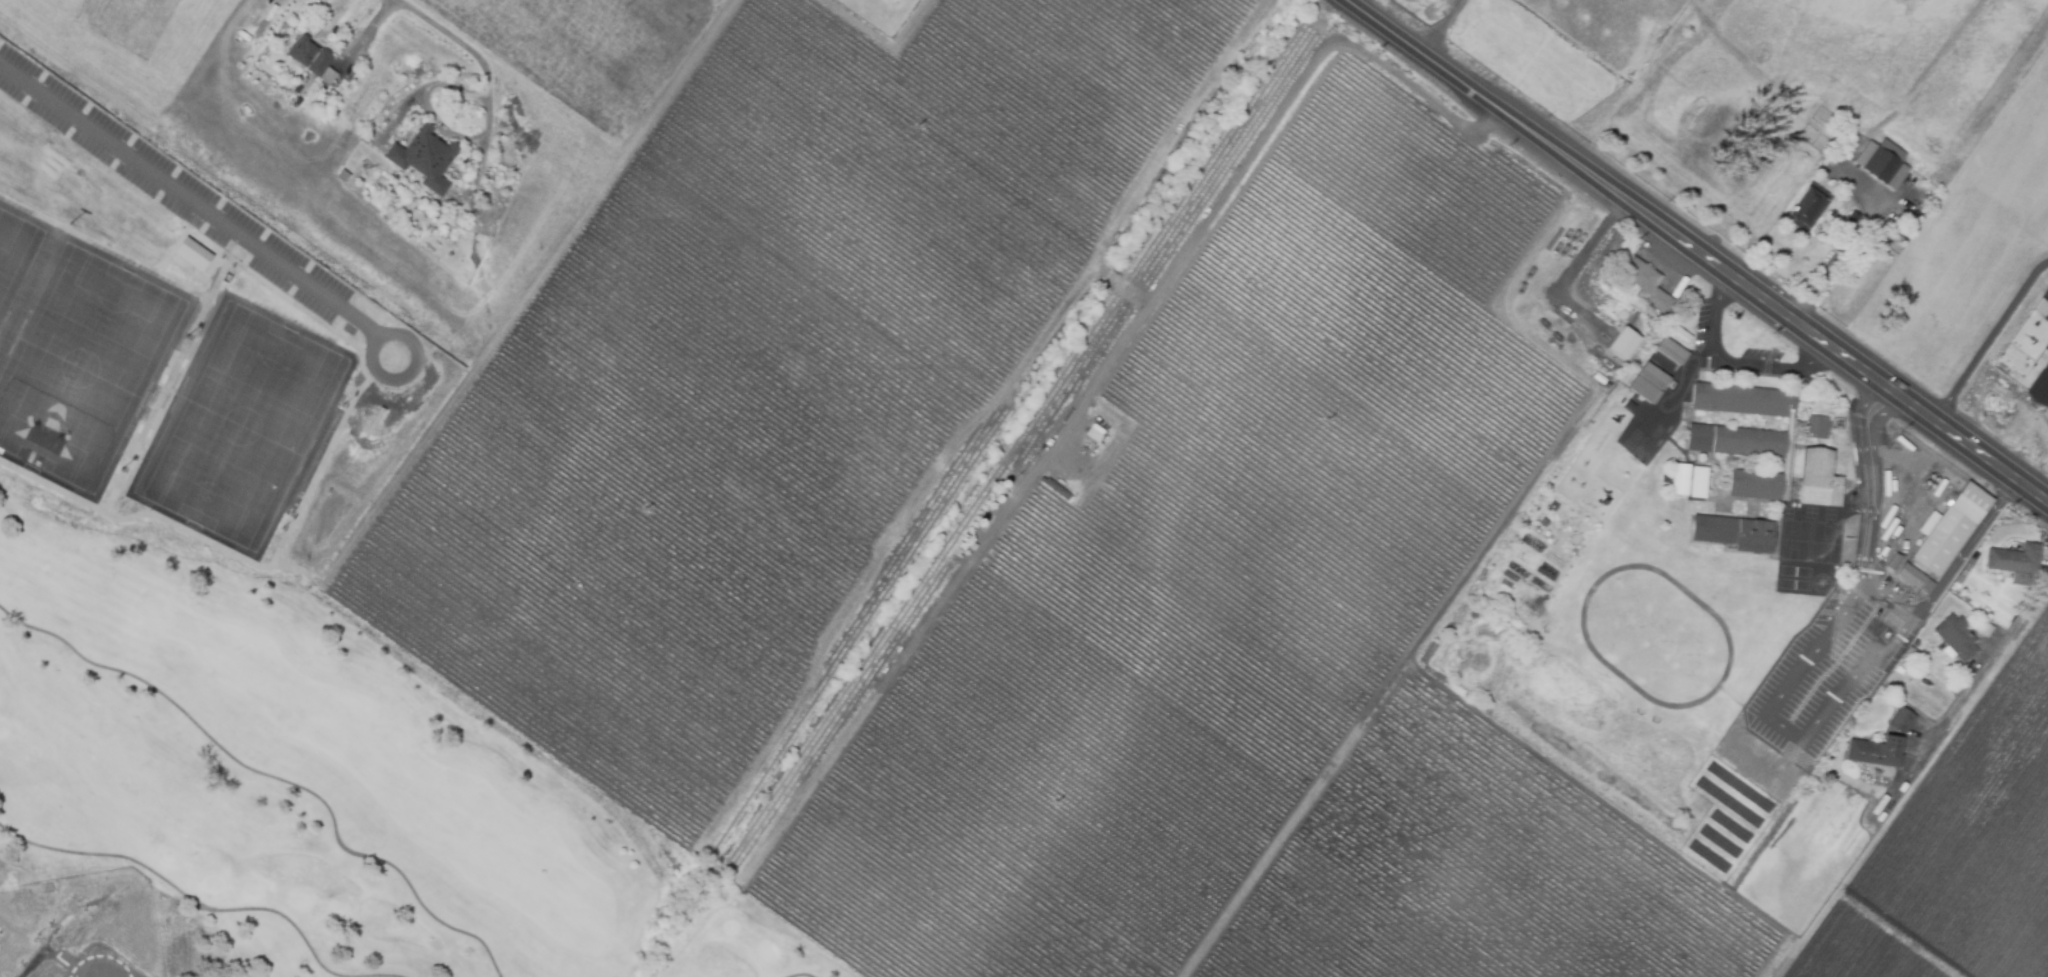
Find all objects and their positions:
road: (1438, 26)
road: (449, 33)
building: (311, 57)
road: (447, 129)
road: (1250, 157)
building: (426, 159)
building: (1883, 163)
road: (191, 196)
building: (1809, 206)
building: (1853, 220)
road: (1696, 252)
road: (1842, 253)
building: (192, 254)
building: (1647, 282)
road: (1989, 340)
building: (1623, 342)
building: (1671, 349)
road: (1733, 360)
building: (1648, 382)
building: (2040, 386)
road: (1866, 410)
road: (1884, 416)
building: (1754, 434)
building: (1823, 474)
building: (1680, 477)
building: (1699, 481)
road: (1871, 510)
building: (1952, 527)
building: (1734, 531)
road: (1963, 552)
building: (2017, 558)
building: (1896, 561)
building: (1969, 569)
building: (1917, 578)
building: (1986, 628)
building: (1958, 635)
road: (1962, 699)
building: (1904, 718)
road: (1807, 738)
building: (1880, 750)
park: (314, 788)

